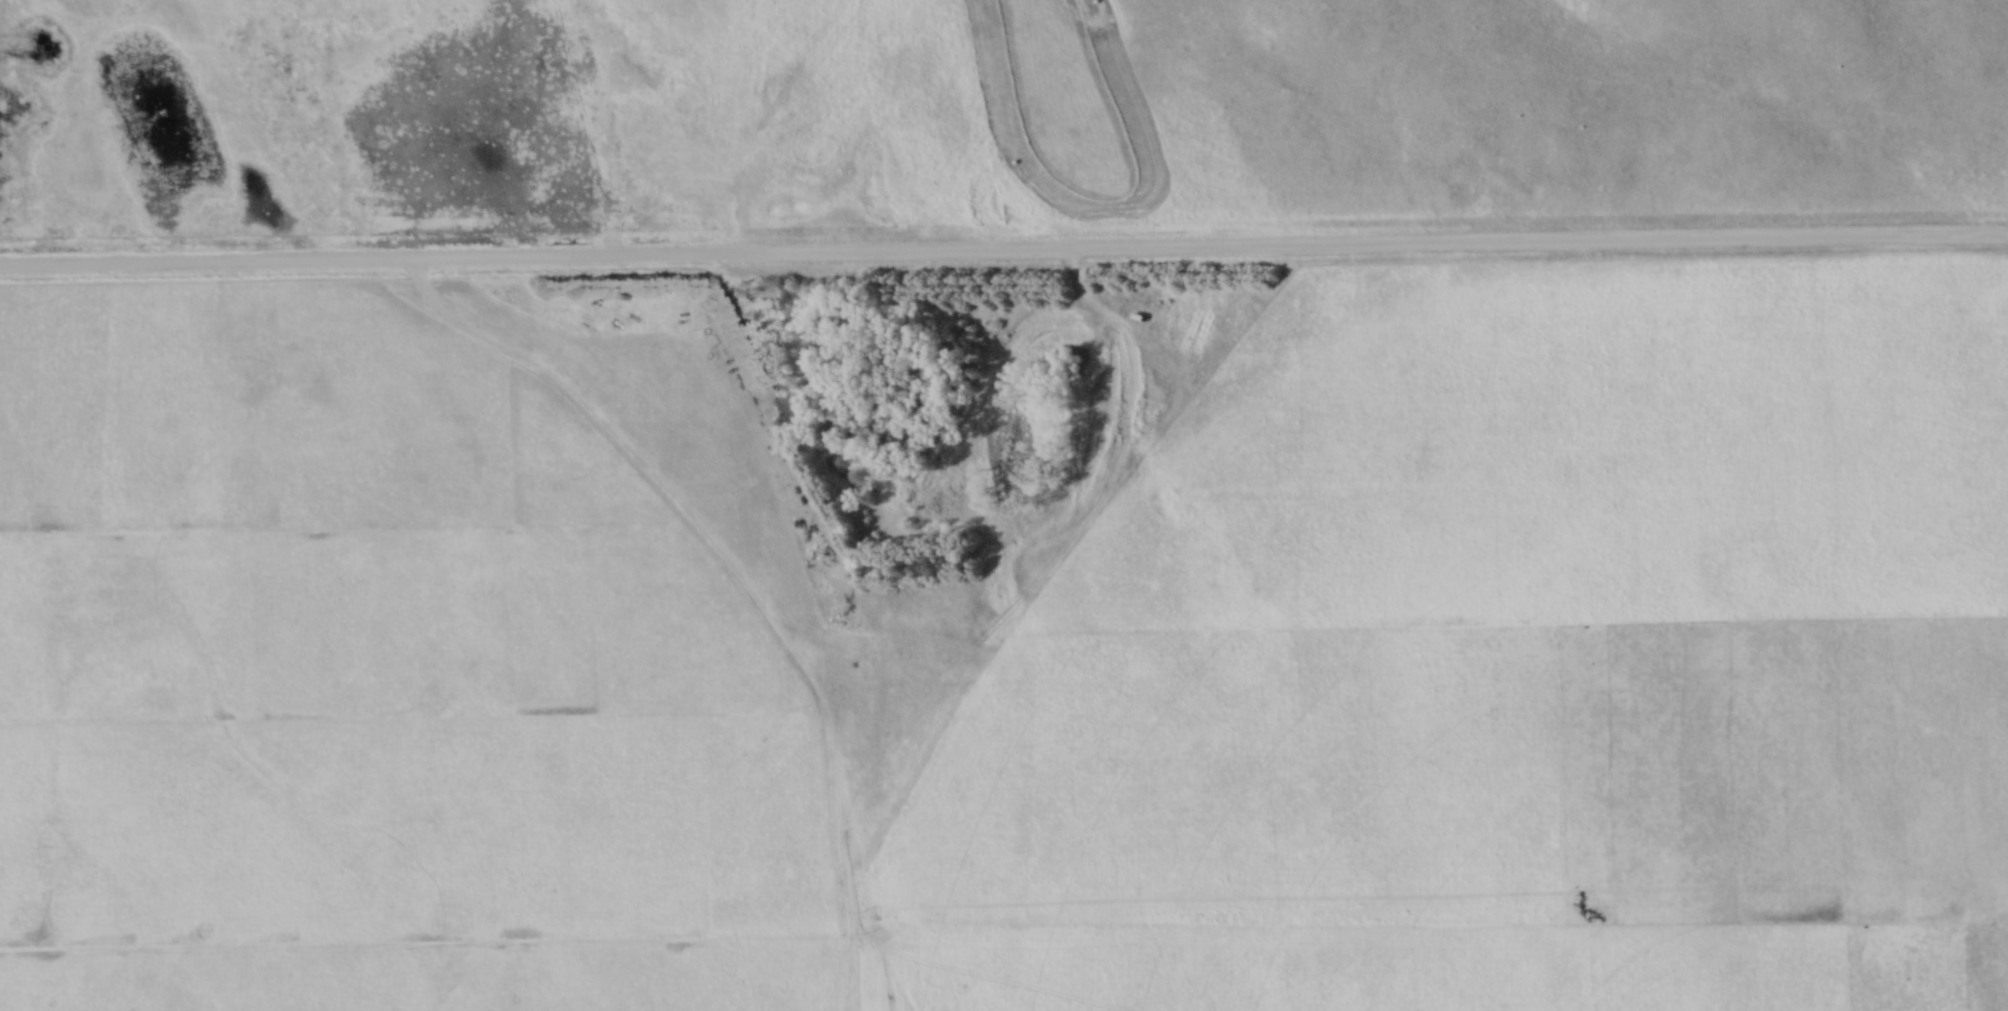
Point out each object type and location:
road: (1004, 257)

